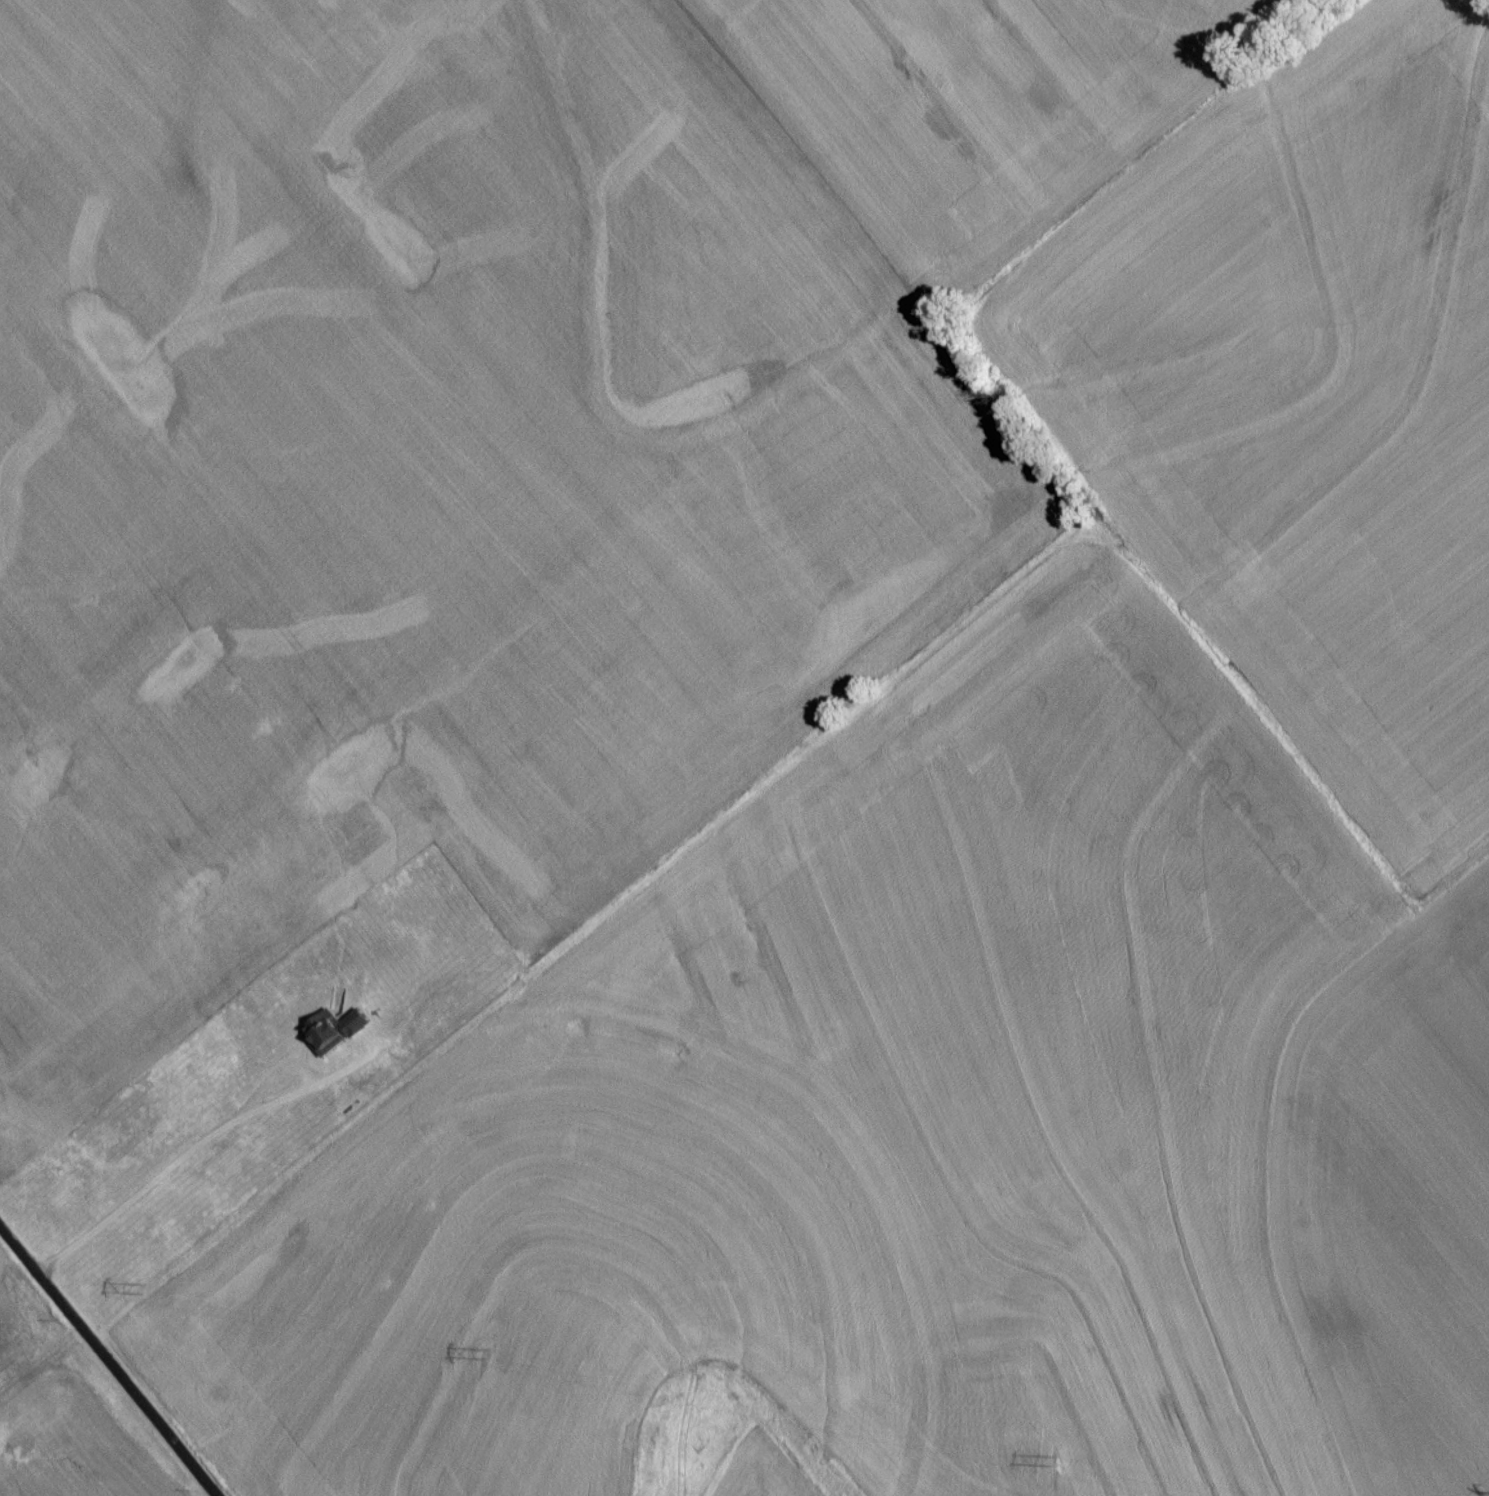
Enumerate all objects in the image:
road: (277, 1073)
road: (201, 1145)
road: (108, 1361)

